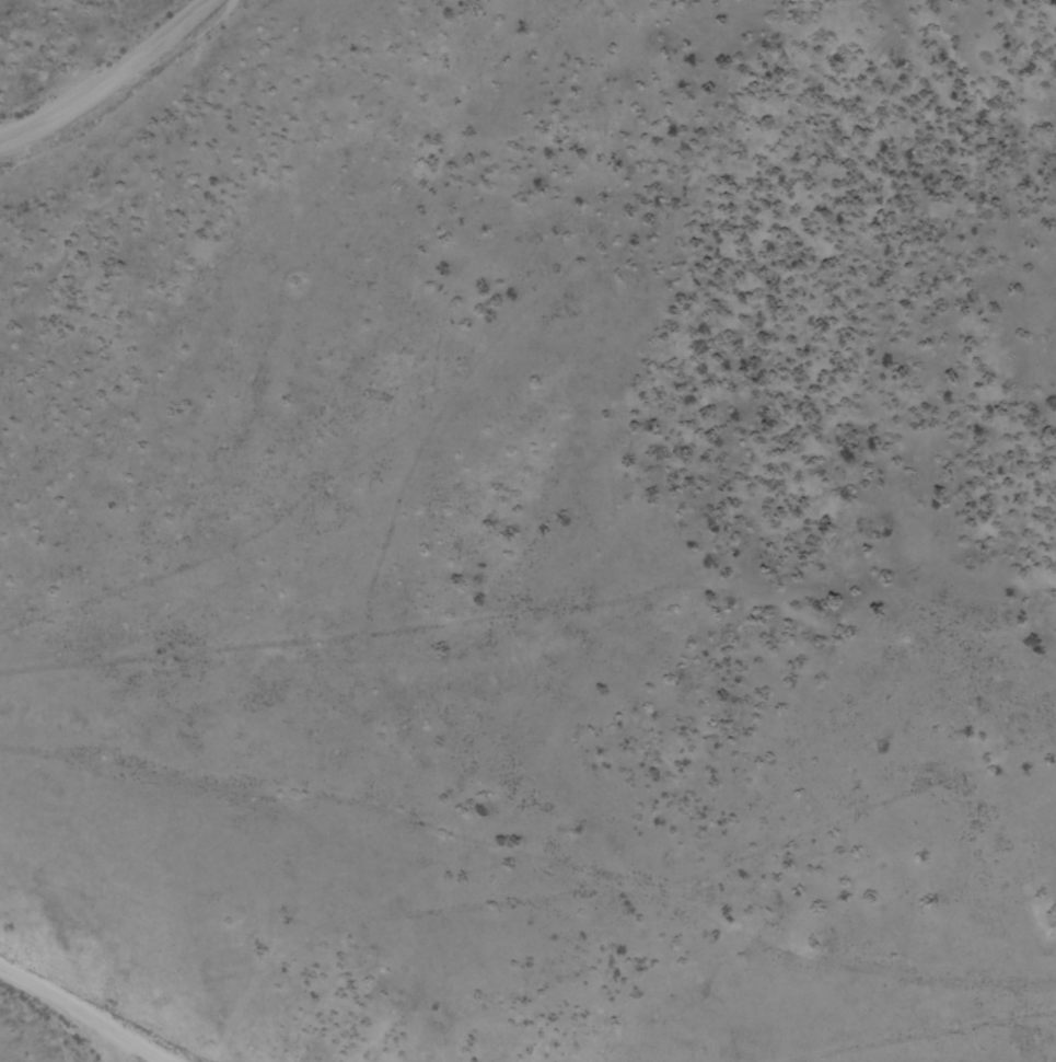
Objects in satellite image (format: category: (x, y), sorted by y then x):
road: (913, 1039)

